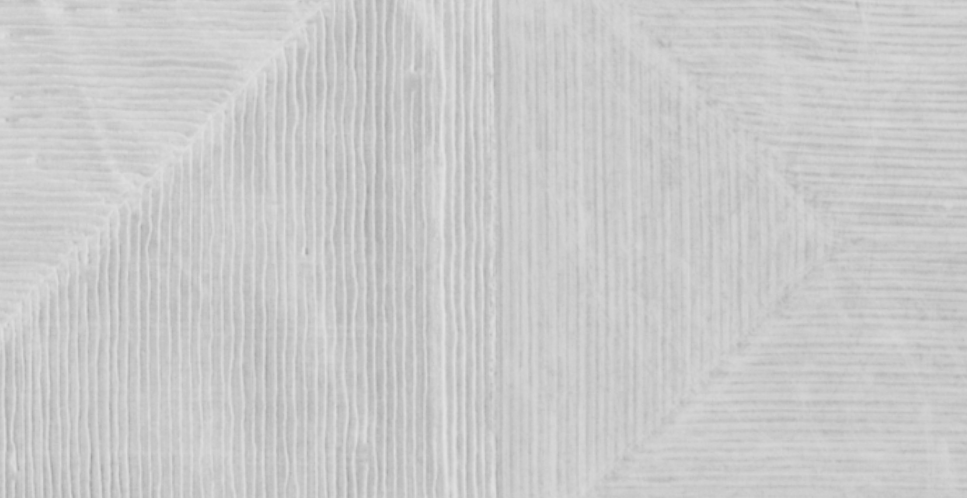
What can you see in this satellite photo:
crop: (483, 249)

